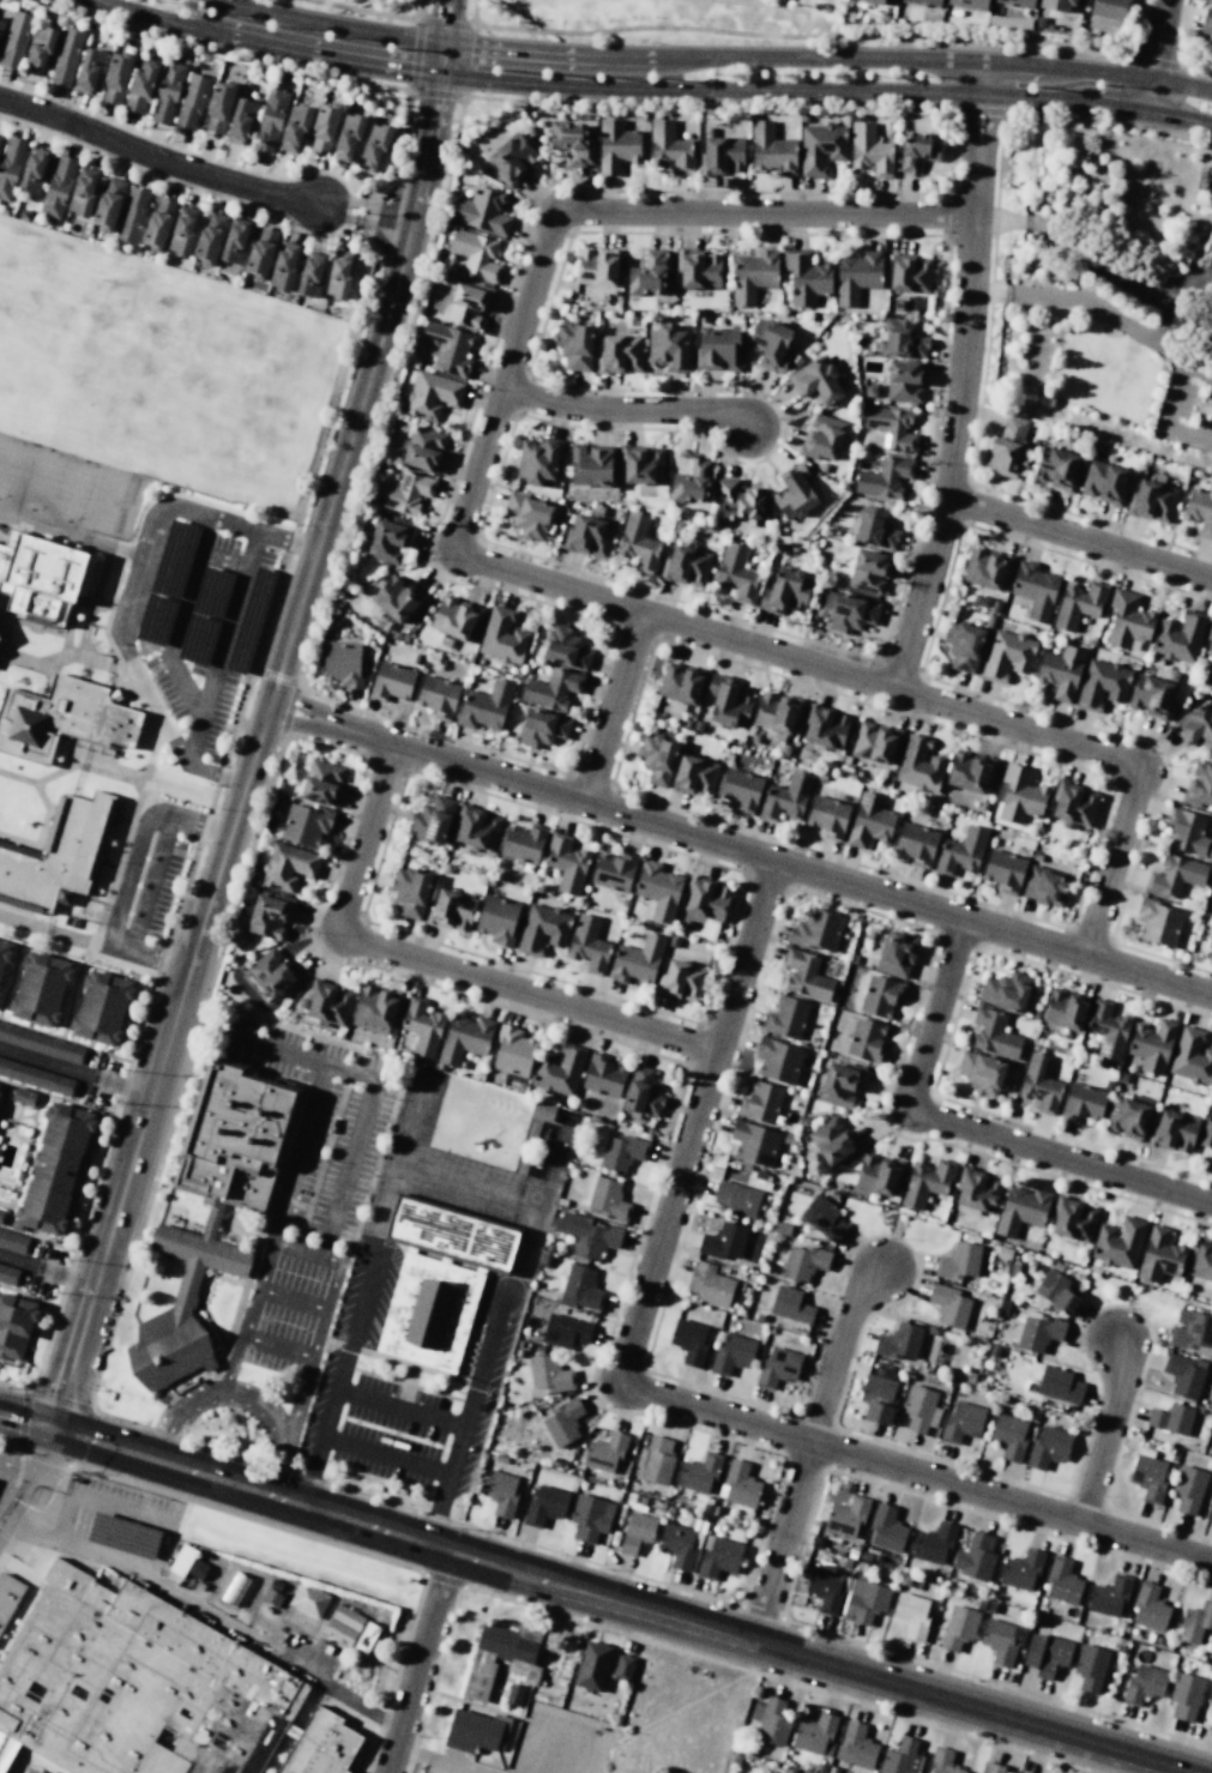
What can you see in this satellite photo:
road: (746, 1)
building: (880, 1)
building: (924, 2)
building: (1017, 2)
building: (1210, 2)
building: (969, 4)
road: (796, 5)
building: (1057, 5)
building: (1109, 8)
road: (373, 11)
road: (134, 13)
road: (418, 17)
park: (664, 20)
building: (1207, 24)
building: (1, 25)
road: (326, 25)
road: (693, 28)
road: (991, 35)
building: (16, 40)
building: (38, 49)
road: (309, 54)
road: (415, 54)
road: (579, 54)
building: (66, 55)
road: (1156, 55)
road: (849, 59)
road: (1027, 66)
building: (88, 71)
road: (1097, 73)
building: (115, 77)
road: (1165, 83)
building: (140, 84)
building: (167, 90)
road: (710, 90)
building: (192, 99)
road: (1062, 99)
building: (218, 105)
road: (1178, 117)
building: (270, 119)
building: (240, 120)
road: (1096, 122)
building: (324, 126)
building: (294, 127)
building: (348, 135)
road: (147, 137)
building: (571, 141)
building: (616, 144)
building: (373, 146)
building: (669, 147)
building: (820, 147)
building: (771, 149)
building: (869, 149)
building: (917, 151)
building: (719, 155)
road: (156, 158)
building: (511, 158)
building: (10, 165)
building: (32, 170)
road: (320, 170)
road: (146, 171)
building: (1202, 183)
building: (56, 187)
road: (394, 191)
building: (83, 192)
building: (108, 204)
road: (319, 204)
building: (482, 211)
road: (593, 212)
building: (131, 215)
road: (400, 219)
building: (157, 223)
road: (339, 227)
building: (182, 231)
building: (210, 237)
road: (381, 243)
building: (234, 245)
building: (260, 252)
building: (475, 253)
road: (1097, 265)
building: (283, 266)
building: (596, 267)
building: (699, 270)
building: (650, 273)
building: (310, 275)
building: (338, 275)
building: (910, 275)
building: (753, 276)
building: (856, 276)
building: (806, 277)
park: (14, 282)
building: (468, 303)
road: (1098, 308)
road: (1190, 326)
road: (1160, 327)
building: (903, 339)
building: (768, 344)
building: (574, 345)
building: (447, 348)
building: (668, 348)
building: (718, 348)
building: (619, 354)
park: (168, 375)
road: (963, 378)
building: (905, 380)
building: (816, 381)
building: (432, 394)
road: (627, 412)
road: (1163, 420)
building: (892, 428)
building: (822, 438)
building: (1007, 447)
building: (422, 448)
building: (538, 462)
park: (10, 464)
building: (643, 465)
building: (590, 466)
building: (1057, 468)
building: (884, 477)
park: (38, 478)
building: (692, 482)
building: (1104, 482)
park: (74, 489)
building: (403, 493)
building: (794, 493)
building: (1151, 500)
building: (738, 501)
building: (1200, 509)
building: (527, 515)
building: (874, 529)
road: (68, 532)
building: (587, 536)
road: (1079, 536)
road: (285, 539)
building: (387, 541)
building: (638, 543)
building: (686, 566)
building: (985, 568)
building: (869, 571)
building: (736, 573)
road: (145, 577)
building: (40, 578)
building: (1035, 590)
building: (785, 591)
building: (397, 599)
road: (95, 601)
building: (1079, 604)
road: (95, 605)
road: (111, 611)
road: (180, 611)
building: (848, 611)
building: (454, 617)
road: (117, 620)
building: (1128, 620)
road: (97, 626)
road: (43, 629)
building: (502, 635)
building: (0, 637)
building: (1180, 637)
road: (8, 643)
building: (1210, 645)
building: (963, 646)
road: (221, 647)
building: (565, 647)
building: (1007, 655)
building: (342, 663)
road: (86, 670)
building: (1061, 671)
building: (391, 682)
building: (681, 683)
building: (1102, 685)
road: (886, 686)
building: (551, 689)
building: (438, 695)
building: (1151, 696)
building: (726, 702)
building: (484, 706)
road: (613, 707)
building: (776, 712)
road: (264, 717)
building: (62, 719)
building: (1195, 726)
building: (541, 728)
building: (824, 728)
building: (875, 742)
building: (657, 758)
building: (918, 765)
road: (147, 770)
building: (970, 772)
building: (694, 774)
road: (18, 778)
building: (321, 782)
building: (1199, 785)
building: (741, 789)
building: (1020, 795)
building: (786, 797)
building: (1073, 803)
building: (828, 816)
road: (119, 819)
building: (432, 820)
building: (869, 821)
building: (306, 824)
building: (477, 828)
building: (1187, 832)
building: (523, 843)
building: (916, 844)
road: (740, 849)
building: (961, 851)
building: (56, 856)
road: (120, 863)
building: (566, 863)
road: (105, 864)
building: (288, 867)
building: (614, 870)
building: (1005, 870)
building: (1175, 876)
road: (127, 880)
road: (150, 886)
building: (1045, 887)
building: (410, 891)
building: (658, 891)
building: (706, 899)
building: (452, 910)
building: (269, 916)
building: (498, 919)
building: (1158, 923)
building: (542, 929)
building: (818, 929)
road: (53, 931)
building: (1211, 940)
building: (589, 943)
building: (897, 954)
road: (67, 957)
building: (4, 959)
building: (637, 960)
road: (439, 964)
building: (272, 972)
building: (804, 975)
road: (10, 978)
building: (681, 981)
building: (40, 989)
building: (1006, 991)
building: (880, 995)
road: (71, 1000)
building: (327, 1002)
building: (376, 1007)
building: (102, 1008)
building: (1065, 1009)
building: (786, 1018)
building: (422, 1026)
building: (1108, 1030)
building: (994, 1033)
building: (464, 1038)
road: (65, 1041)
building: (866, 1041)
building: (40, 1043)
building: (1152, 1045)
road: (275, 1049)
building: (512, 1051)
building: (1192, 1056)
building: (778, 1060)
building: (559, 1069)
road: (74, 1071)
building: (981, 1072)
building: (602, 1075)
building: (36, 1078)
building: (839, 1084)
building: (643, 1092)
building: (24, 1097)
road: (4, 1099)
building: (1083, 1102)
building: (760, 1103)
road: (41, 1108)
building: (554, 1114)
building: (1128, 1116)
road: (18, 1118)
road: (699, 1120)
building: (1207, 1127)
road: (967, 1128)
building: (1172, 1132)
building: (236, 1136)
building: (833, 1141)
building: (754, 1142)
road: (26, 1151)
building: (622, 1152)
road: (86, 1157)
road: (303, 1157)
building: (54, 1169)
road: (349, 1171)
building: (878, 1175)
building: (927, 1181)
building: (977, 1190)
road: (89, 1195)
building: (607, 1198)
building: (737, 1198)
building: (1020, 1210)
building: (1, 1216)
road: (7, 1217)
building: (822, 1217)
building: (1072, 1220)
building: (453, 1234)
building: (589, 1235)
building: (723, 1241)
building: (13, 1242)
building: (1118, 1242)
building: (1159, 1255)
building: (959, 1261)
building: (1201, 1261)
road: (319, 1262)
building: (803, 1262)
road: (47, 1271)
building: (8, 1276)
building: (710, 1284)
building: (580, 1287)
building: (1056, 1291)
road: (29, 1296)
road: (293, 1298)
building: (182, 1303)
building: (790, 1304)
building: (949, 1305)
building: (429, 1313)
building: (14, 1326)
building: (565, 1331)
building: (1038, 1332)
building: (1192, 1332)
building: (689, 1341)
building: (899, 1341)
road: (278, 1347)
building: (731, 1353)
road: (10, 1365)
building: (777, 1368)
building: (548, 1374)
building: (1183, 1375)
road: (339, 1376)
building: (1059, 1385)
road: (26, 1388)
road: (60, 1398)
building: (878, 1399)
road: (400, 1407)
building: (919, 1409)
road: (180, 1415)
road: (468, 1417)
building: (1171, 1418)
building: (562, 1422)
building: (961, 1422)
traffic signals: (52, 1429)
road: (277, 1431)
road: (1107, 1431)
building: (1009, 1436)
road: (8, 1445)
building: (1048, 1447)
road: (810, 1451)
building: (604, 1452)
road: (388, 1454)
road: (42, 1455)
building: (657, 1460)
building: (699, 1472)
parking lot: (6, 1473)
road: (917, 1473)
road: (1, 1476)
building: (1148, 1478)
road: (224, 1482)
building: (740, 1485)
road: (35, 1486)
building: (1188, 1489)
building: (500, 1491)
road: (97, 1502)
building: (544, 1506)
building: (846, 1516)
building: (590, 1518)
parking lot: (113, 1525)
building: (886, 1528)
building: (637, 1532)
building: (933, 1543)
building: (679, 1545)
road: (344, 1548)
building: (718, 1557)
building: (975, 1557)
building: (181, 1558)
building: (197, 1569)
building: (1020, 1569)
building: (1062, 1581)
building: (826, 1590)
building: (1109, 1596)
building: (10, 1597)
building: (271, 1597)
building: (308, 1599)
building: (864, 1602)
building: (1148, 1608)
building: (911, 1614)
road: (212, 1616)
building: (345, 1617)
building: (1195, 1623)
building: (958, 1627)
building: (338, 1632)
building: (364, 1638)
building: (1001, 1640)
road: (339, 1646)
building: (1045, 1654)
building: (501, 1658)
road: (820, 1662)
road: (418, 1663)
building: (592, 1665)
building: (623, 1666)
building: (1090, 1666)
building: (1144, 1683)
building: (150, 1690)
building: (513, 1694)
building: (1184, 1696)
road: (306, 1703)
building: (770, 1720)
building: (475, 1730)
road: (290, 1731)
road: (557, 1731)
building: (815, 1735)
building: (856, 1745)
road: (366, 1748)
road: (276, 1754)
building: (899, 1757)
road: (434, 1760)
building: (942, 1761)
building: (991, 1767)
road: (350, 1769)
building: (1021, 1772)

